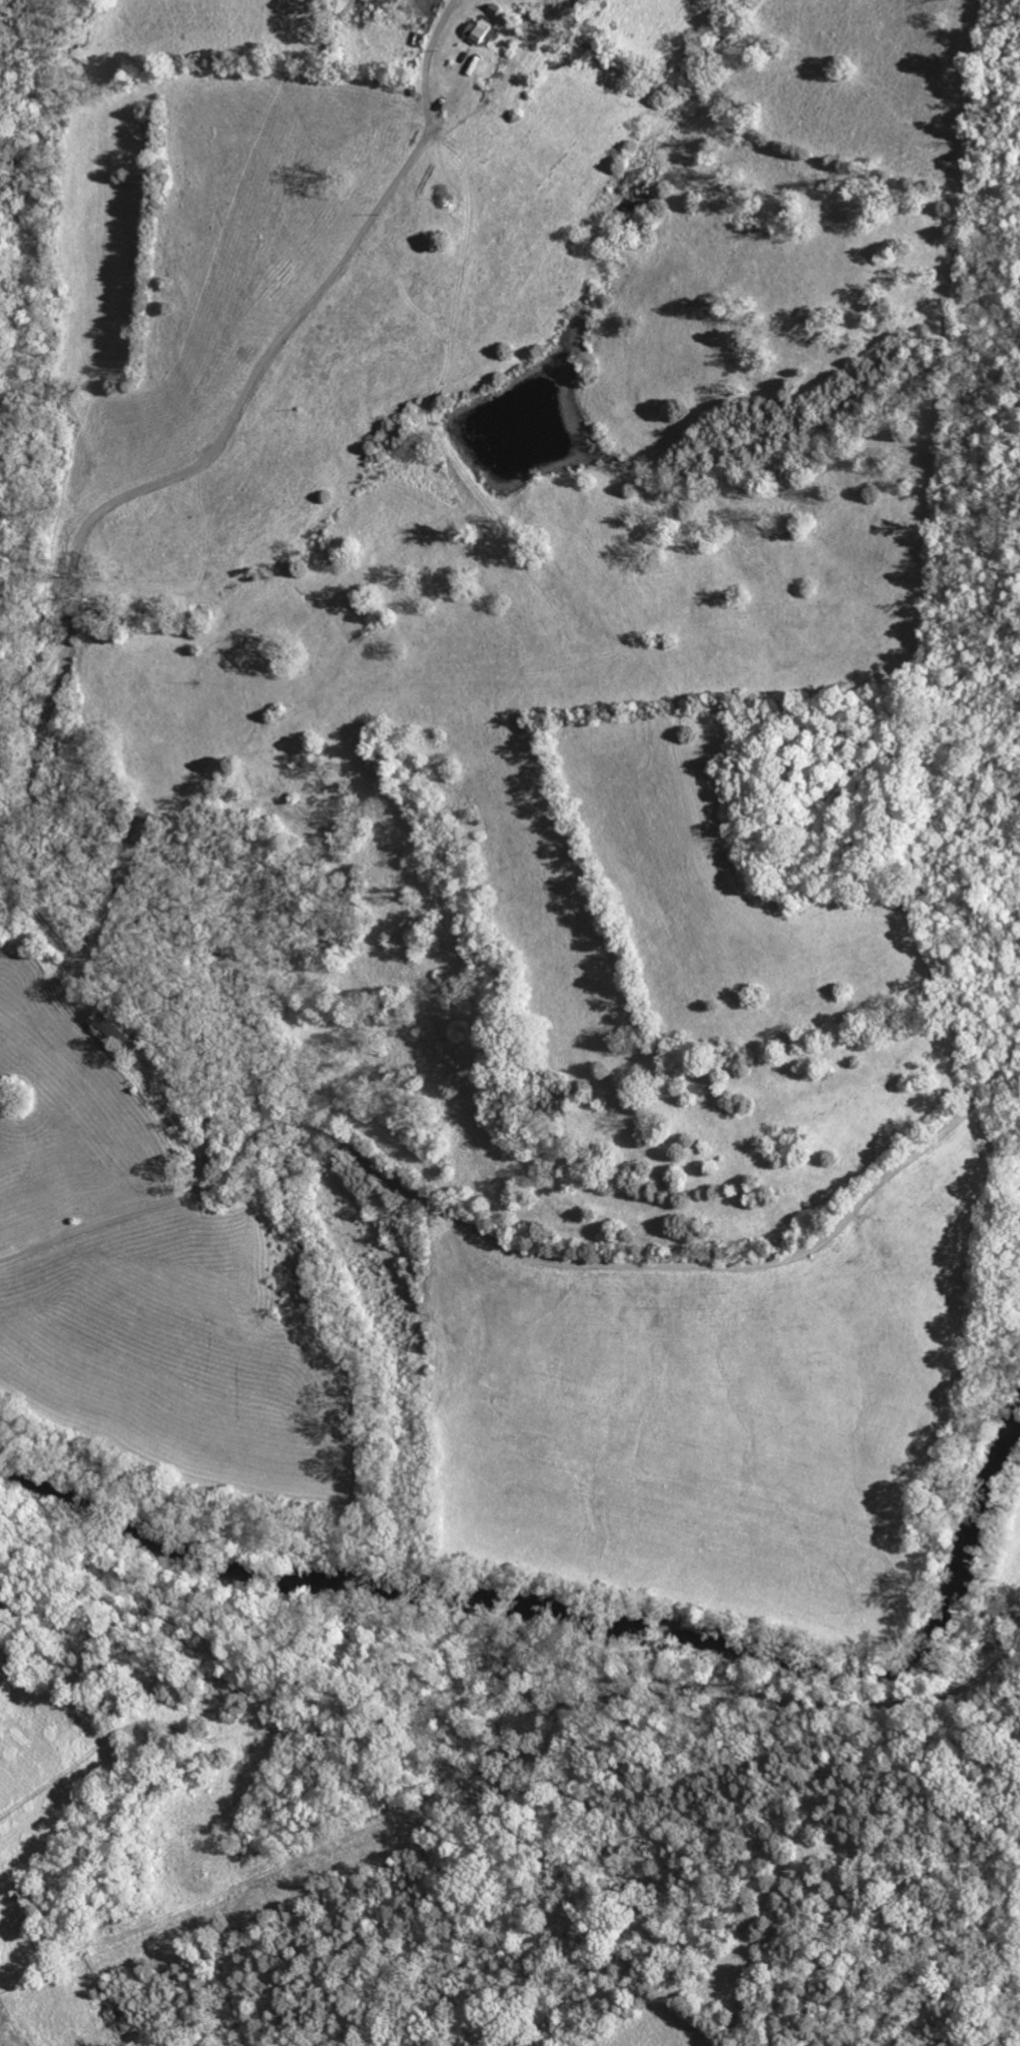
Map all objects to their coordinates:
building: (477, 30)
road: (160, 987)

